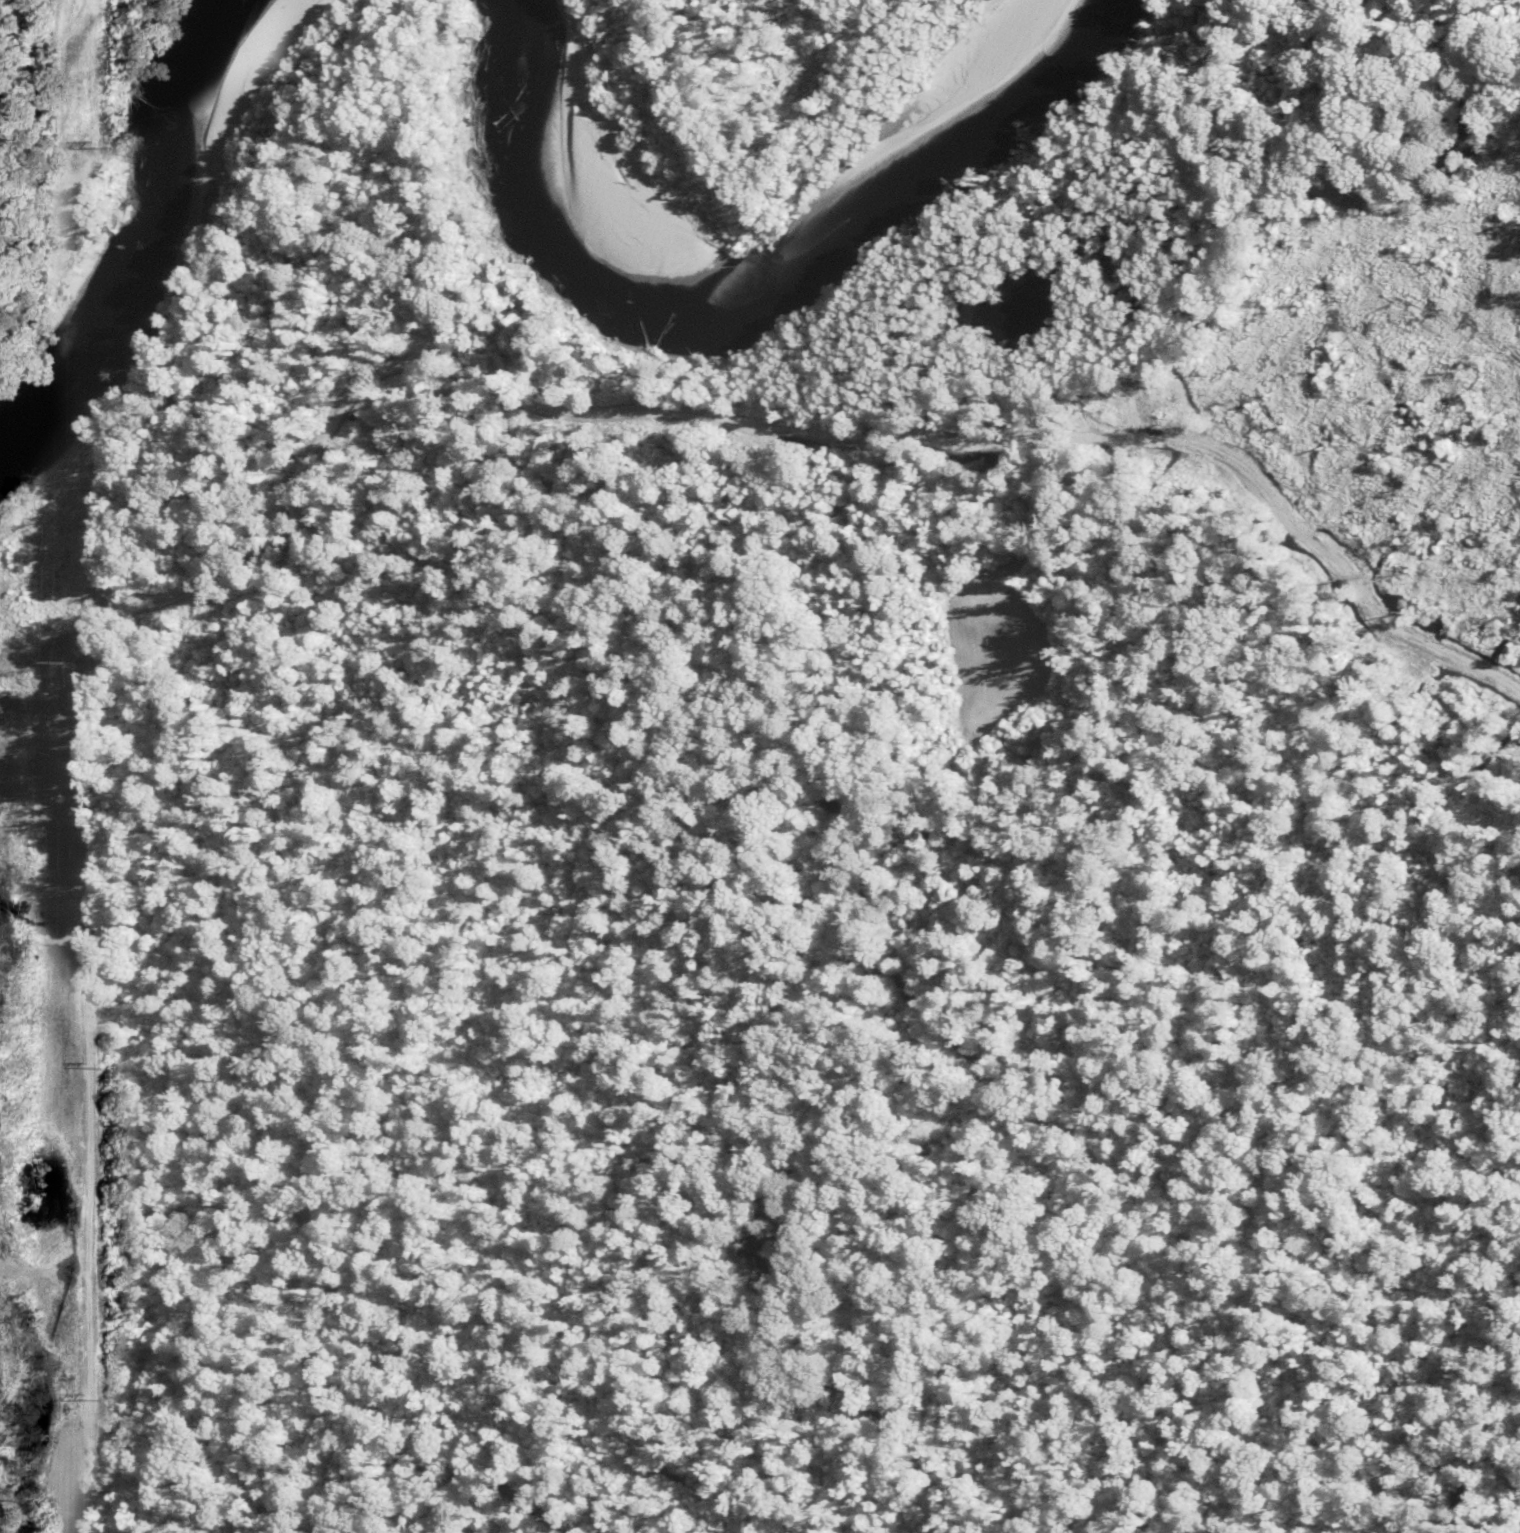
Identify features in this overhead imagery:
power tower: (69, 149)
river: (191, 176)
river: (776, 278)
river: (43, 382)
power tower: (69, 659)
power tower: (65, 1068)
power tower: (68, 1399)

